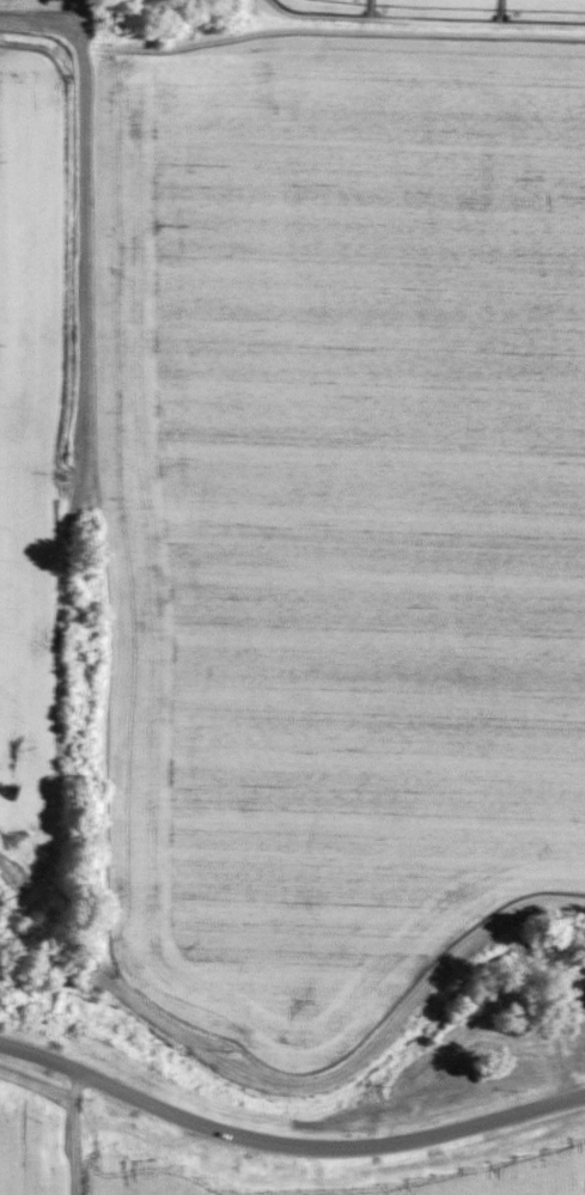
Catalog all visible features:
road: (72, 1132)
road: (285, 1147)

